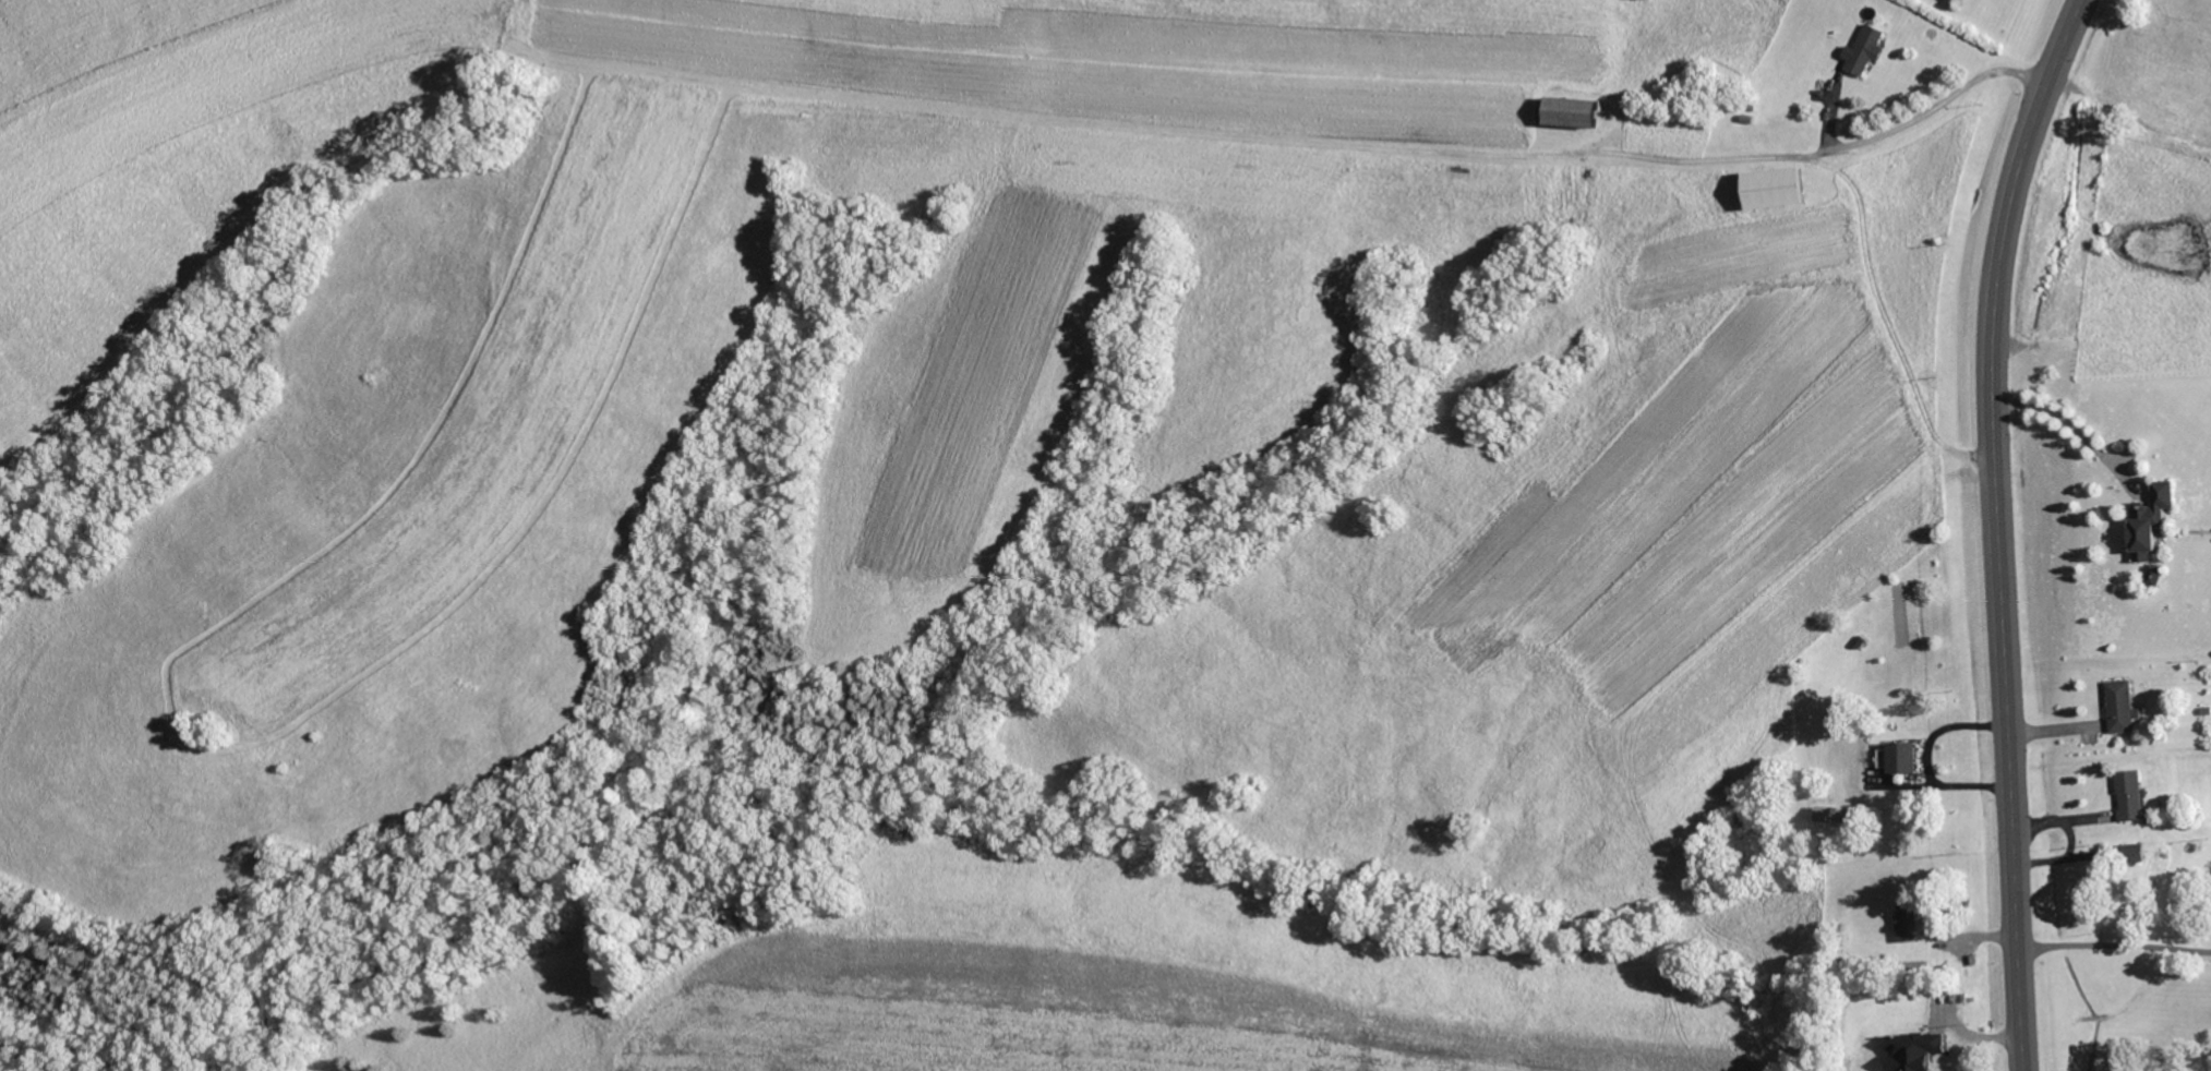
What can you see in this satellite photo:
building: (1868, 48)
road: (1939, 105)
building: (1786, 186)
building: (2135, 519)
building: (2158, 519)
road: (1996, 528)
building: (2124, 706)
building: (1906, 757)
building: (2134, 795)
building: (1825, 814)
building: (1909, 925)
building: (1920, 1051)

